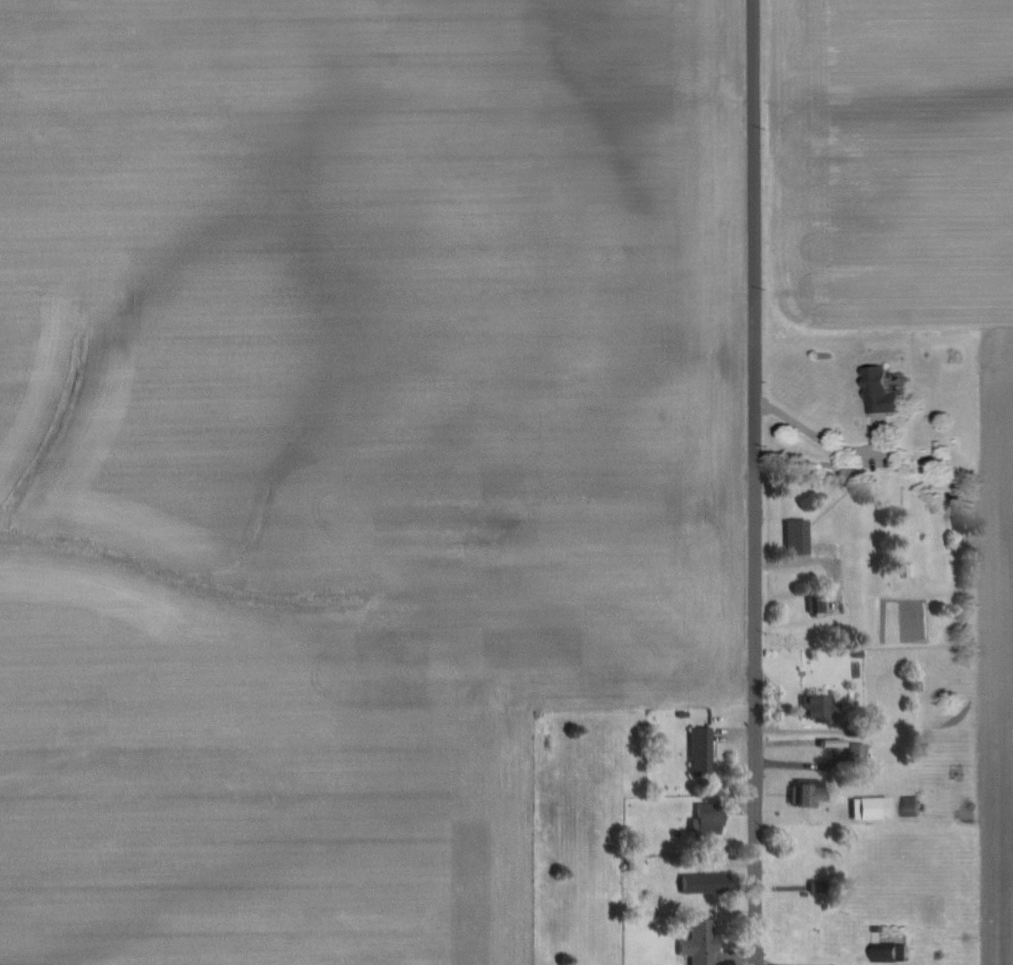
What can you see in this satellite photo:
building: (884, 389)
road: (813, 432)
road: (753, 482)
building: (798, 536)
road: (808, 557)
building: (820, 706)
building: (702, 750)
building: (805, 795)
building: (912, 805)
building: (871, 807)
building: (708, 816)
building: (705, 882)
building: (701, 942)
building: (888, 951)

